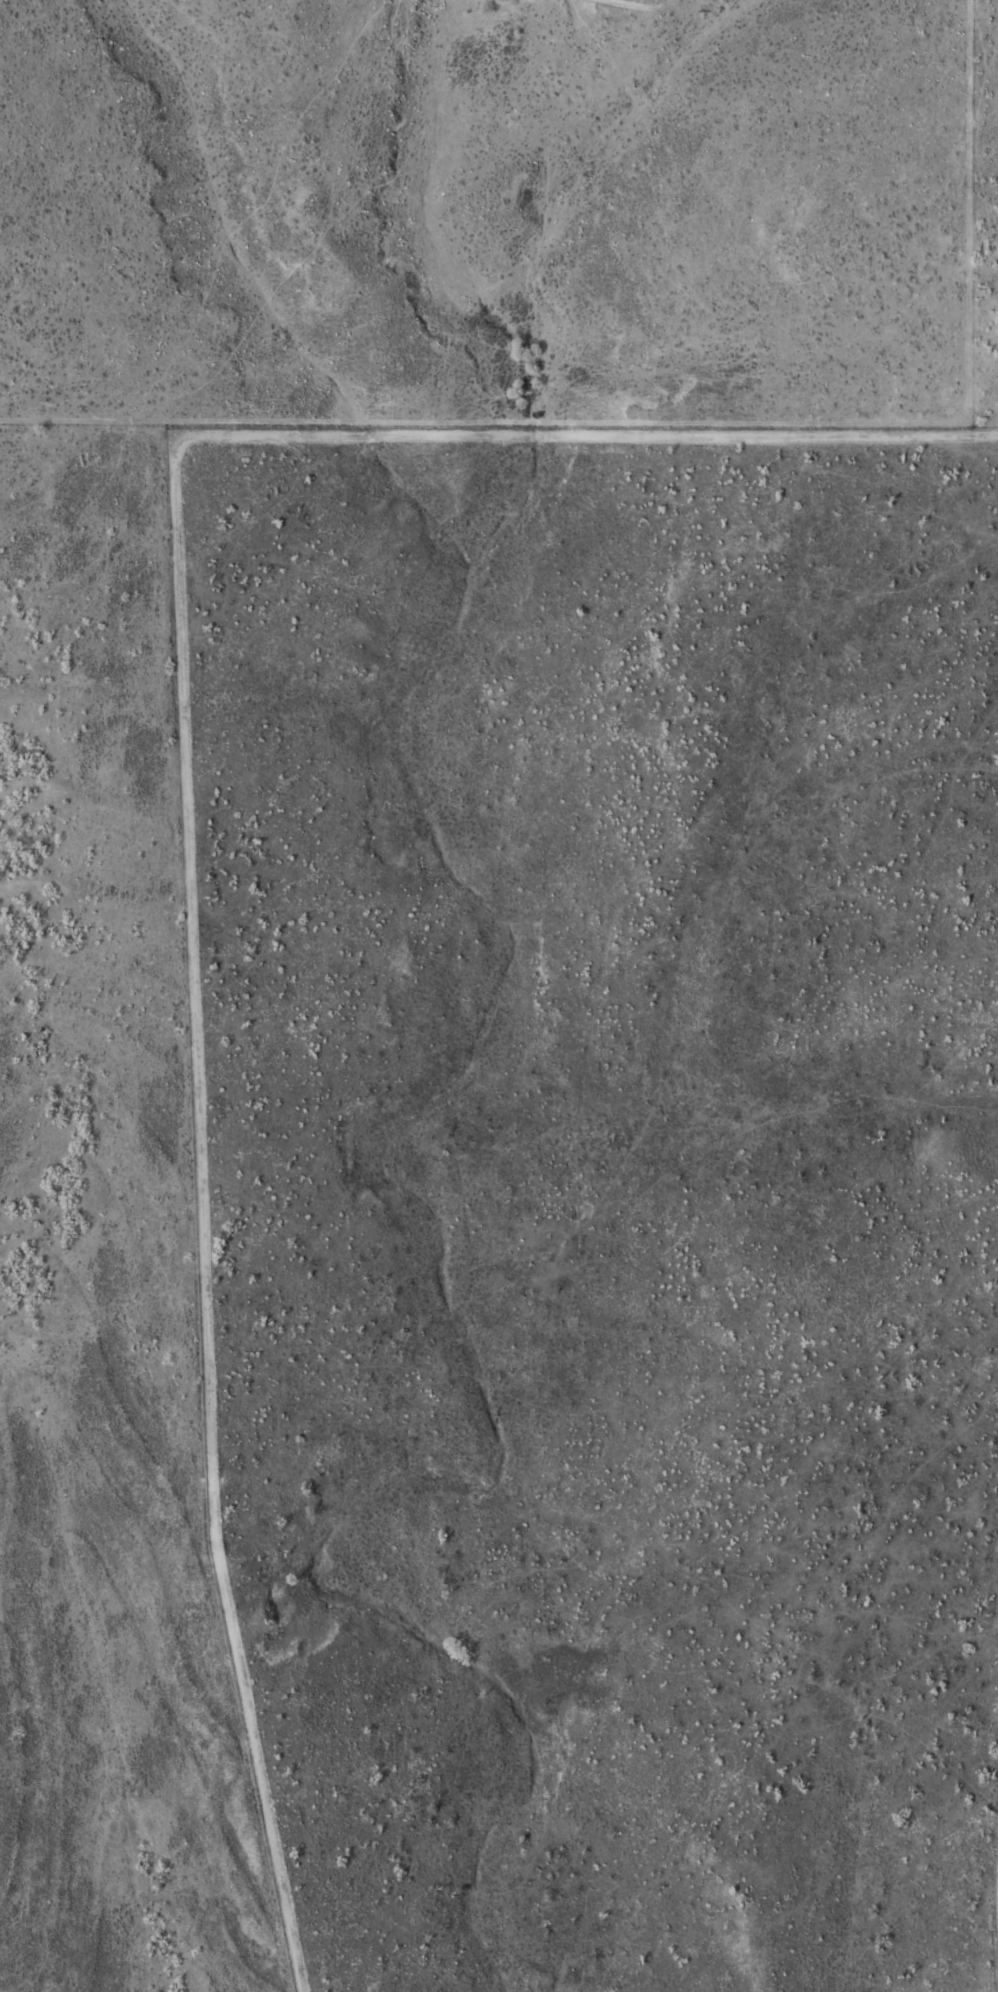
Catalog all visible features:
road: (996, 1915)

